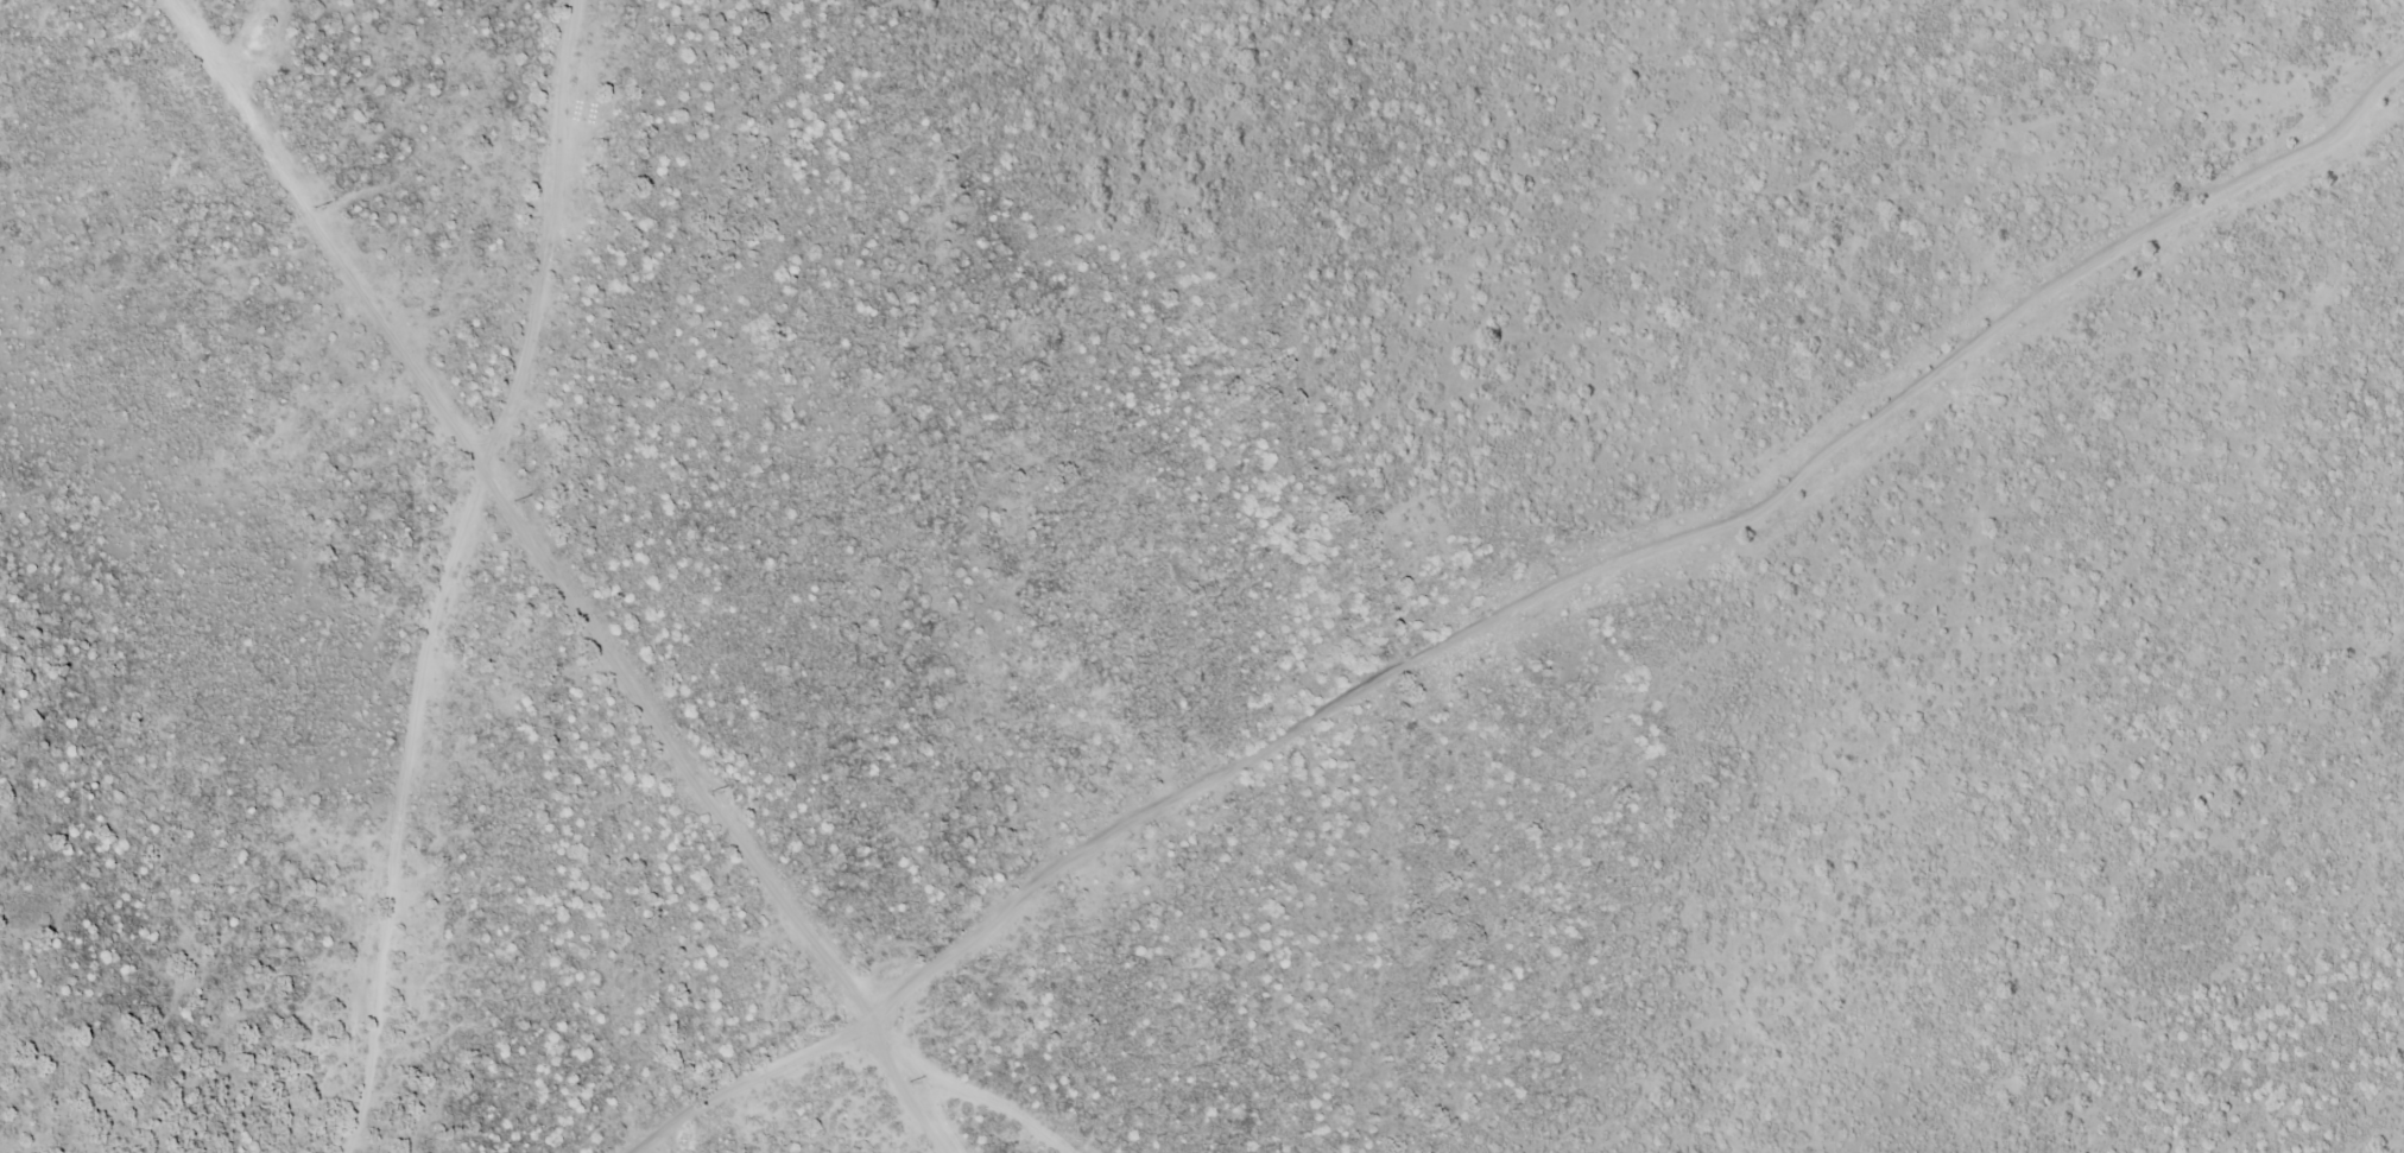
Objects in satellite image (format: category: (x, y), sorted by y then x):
power tower: (314, 207)
power tower: (512, 501)
road: (456, 575)
power tower: (710, 792)
road: (861, 1039)
power tower: (906, 1082)

